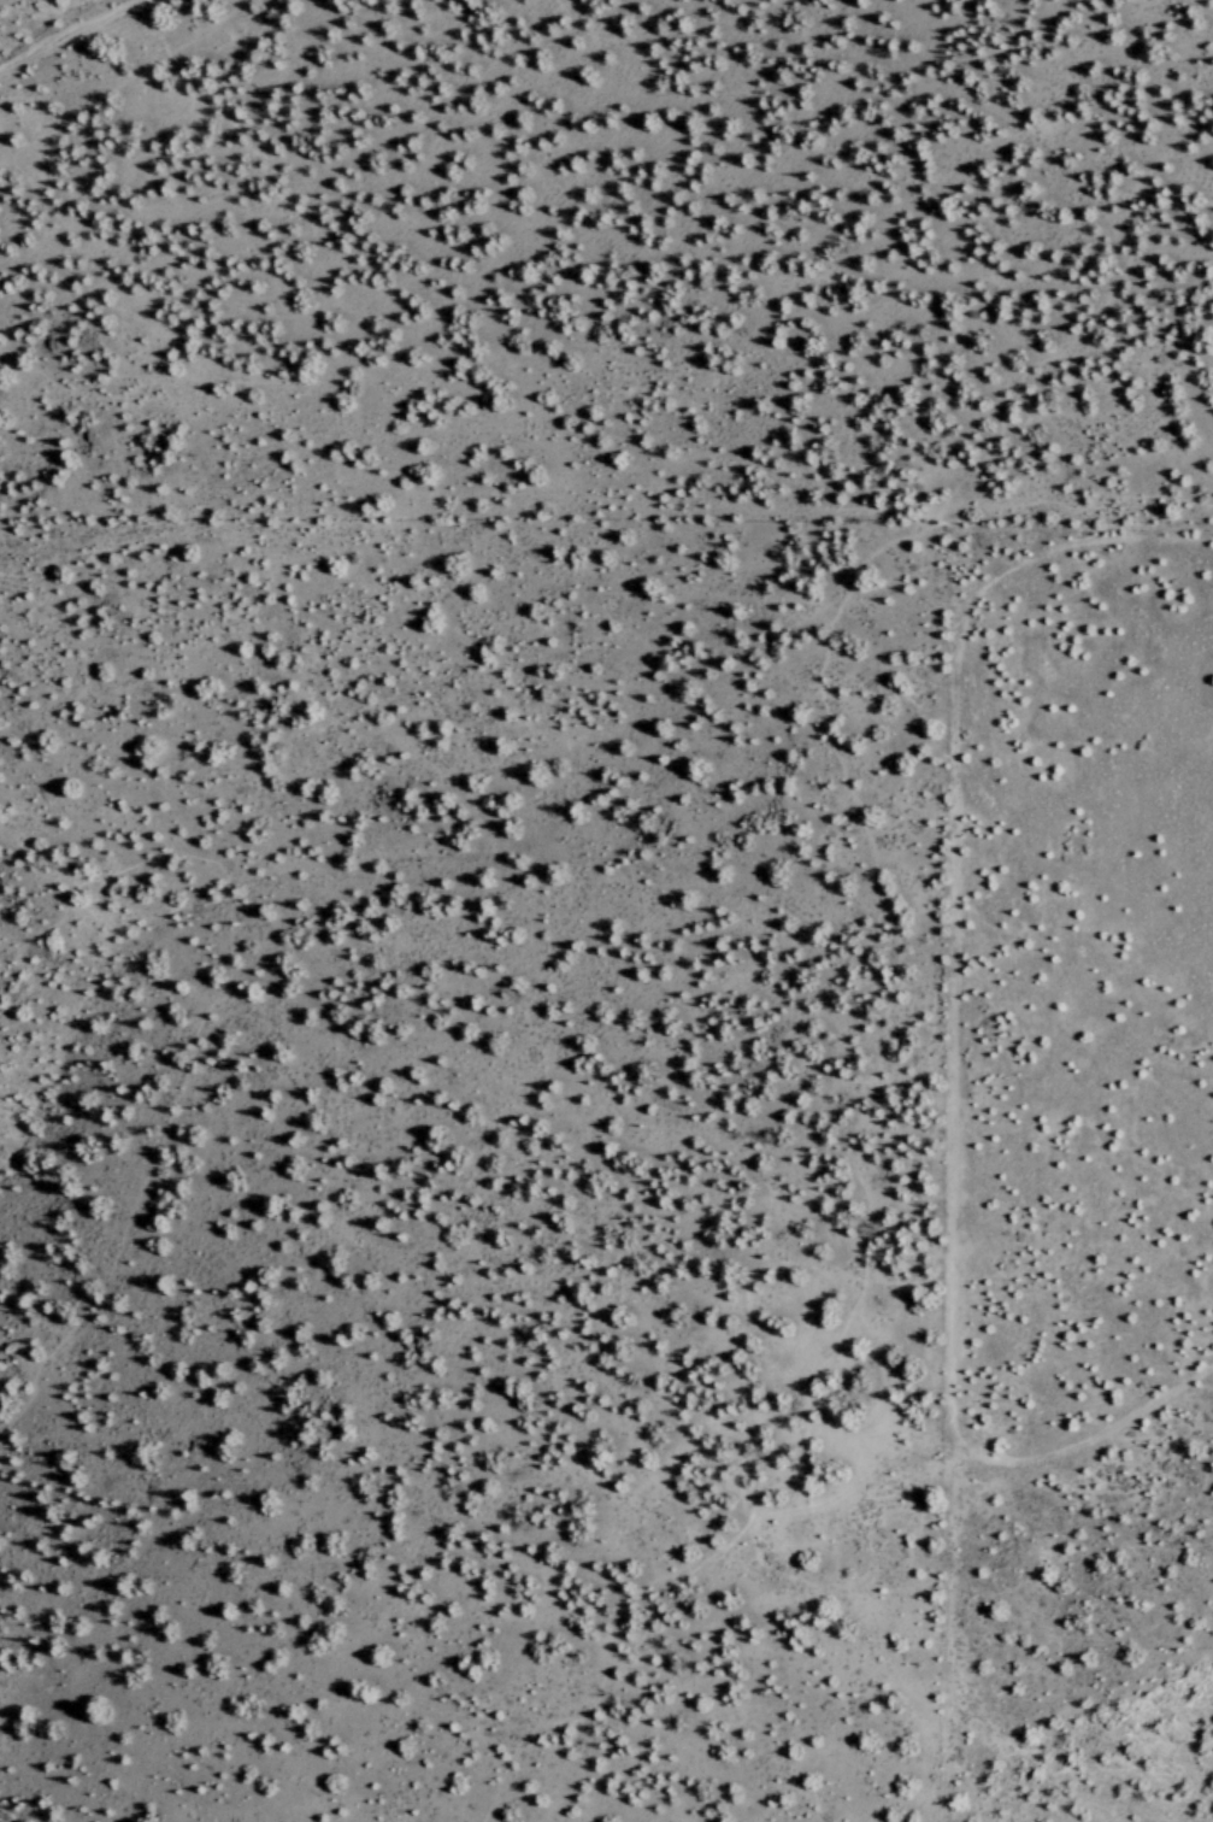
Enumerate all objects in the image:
road: (1105, 327)
road: (878, 1244)
road: (642, 1644)
road: (658, 1646)

